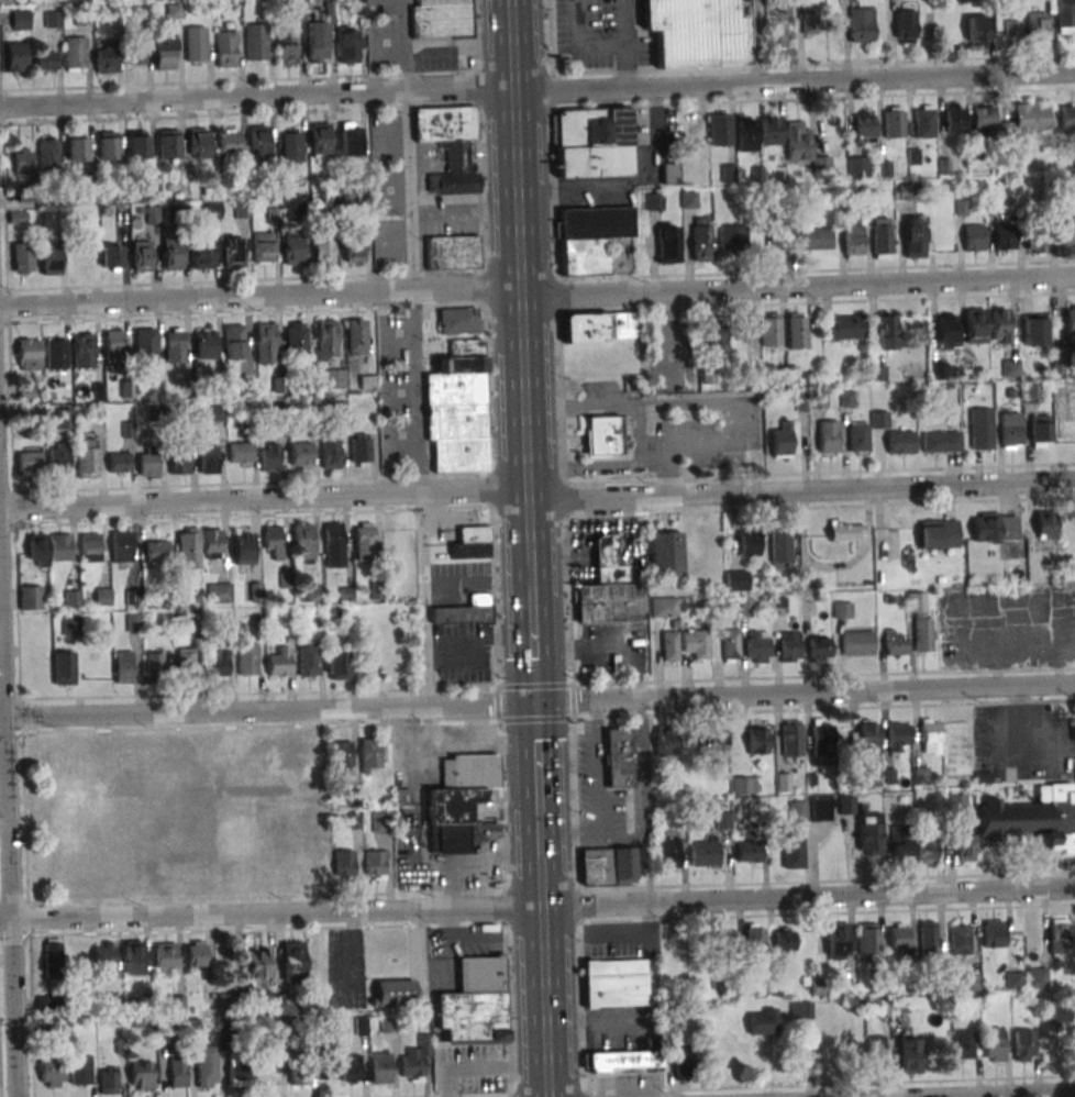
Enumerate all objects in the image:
building: (174, 11)
building: (809, 11)
building: (1065, 16)
building: (52, 19)
building: (441, 19)
building: (20, 20)
building: (861, 24)
building: (905, 26)
building: (1037, 29)
building: (977, 31)
building: (1013, 32)
building: (697, 33)
building: (777, 38)
road: (756, 41)
building: (256, 42)
building: (317, 42)
road: (624, 43)
building: (196, 44)
building: (286, 47)
building: (135, 48)
building: (226, 48)
building: (166, 51)
building: (347, 51)
building: (75, 53)
building: (15, 57)
building: (106, 58)
building: (45, 60)
road: (537, 89)
building: (1067, 117)
building: (984, 118)
building: (951, 119)
building: (1029, 120)
building: (923, 121)
building: (893, 122)
building: (863, 126)
building: (720, 129)
building: (769, 130)
building: (745, 134)
building: (320, 138)
building: (350, 138)
building: (258, 141)
building: (199, 143)
building: (230, 143)
building: (594, 143)
building: (137, 144)
building: (802, 144)
building: (108, 145)
building: (77, 146)
building: (168, 146)
building: (291, 146)
building: (450, 146)
building: (48, 154)
building: (23, 160)
building: (857, 166)
building: (669, 173)
building: (728, 173)
building: (905, 190)
building: (295, 207)
building: (242, 209)
building: (211, 210)
building: (151, 214)
building: (18, 217)
road: (465, 222)
building: (915, 236)
building: (1004, 236)
building: (1065, 236)
building: (591, 237)
building: (732, 237)
building: (880, 237)
building: (816, 239)
building: (973, 239)
building: (701, 240)
building: (852, 241)
building: (667, 243)
building: (1034, 243)
building: (323, 246)
building: (263, 247)
building: (292, 247)
building: (202, 252)
building: (232, 252)
building: (354, 252)
building: (452, 253)
building: (141, 255)
building: (173, 255)
building: (110, 256)
building: (22, 257)
building: (49, 259)
road: (537, 288)
road: (521, 292)
building: (1070, 320)
building: (458, 321)
building: (975, 325)
building: (999, 325)
building: (599, 328)
building: (843, 328)
building: (1033, 329)
building: (742, 330)
building: (769, 330)
building: (796, 330)
building: (945, 331)
building: (887, 332)
building: (296, 336)
building: (356, 336)
building: (716, 336)
building: (326, 341)
building: (234, 342)
building: (113, 343)
building: (144, 343)
building: (206, 343)
building: (266, 343)
building: (174, 345)
building: (82, 350)
road: (415, 352)
building: (29, 354)
building: (56, 354)
building: (1010, 368)
building: (709, 374)
building: (335, 378)
building: (1032, 394)
road: (716, 402)
road: (581, 406)
building: (457, 408)
building: (878, 419)
building: (63, 420)
building: (980, 429)
building: (1010, 430)
building: (1039, 431)
building: (603, 436)
building: (829, 436)
building: (858, 436)
building: (783, 440)
building: (899, 442)
building: (941, 442)
building: (361, 447)
building: (331, 452)
building: (241, 454)
building: (301, 455)
building: (87, 457)
building: (269, 457)
building: (209, 458)
building: (57, 459)
building: (29, 462)
building: (119, 462)
building: (179, 462)
building: (148, 463)
road: (613, 463)
road: (537, 489)
building: (1045, 524)
building: (994, 527)
building: (846, 530)
building: (938, 534)
building: (273, 540)
building: (303, 541)
building: (364, 541)
building: (749, 541)
building: (212, 543)
building: (470, 543)
building: (333, 545)
building: (121, 546)
building: (60, 547)
building: (90, 547)
building: (188, 547)
building: (243, 547)
building: (780, 548)
building: (37, 550)
building: (157, 551)
building: (666, 555)
building: (607, 559)
building: (736, 580)
building: (219, 592)
building: (311, 594)
building: (30, 597)
building: (71, 598)
building: (608, 603)
building: (664, 607)
building: (842, 610)
building: (465, 611)
building: (921, 621)
building: (70, 625)
building: (857, 642)
building: (895, 642)
road: (533, 643)
building: (696, 643)
building: (669, 645)
building: (730, 645)
building: (757, 646)
building: (789, 646)
building: (819, 646)
building: (247, 658)
building: (186, 661)
building: (279, 661)
building: (308, 661)
building: (341, 663)
building: (218, 664)
building: (64, 667)
building: (123, 667)
building: (154, 667)
road: (537, 701)
traffic signals: (535, 702)
building: (1074, 730)
building: (866, 734)
building: (898, 735)
building: (930, 735)
building: (793, 739)
building: (758, 740)
building: (664, 741)
building: (822, 742)
building: (720, 743)
building: (369, 754)
building: (342, 756)
road: (536, 756)
building: (619, 757)
building: (921, 775)
building: (783, 782)
building: (744, 785)
road: (597, 790)
building: (80, 804)
building: (461, 804)
building: (956, 804)
building: (820, 809)
building: (798, 810)
building: (1033, 818)
building: (380, 821)
building: (723, 821)
road: (540, 832)
building: (868, 834)
building: (900, 840)
road: (9, 841)
building: (964, 846)
building: (927, 849)
building: (793, 851)
building: (669, 852)
building: (749, 852)
building: (705, 853)
building: (343, 864)
building: (375, 865)
building: (608, 866)
road: (537, 905)
building: (994, 933)
building: (1059, 935)
building: (755, 937)
building: (898, 938)
building: (928, 938)
building: (784, 939)
building: (838, 940)
building: (960, 940)
building: (724, 942)
building: (868, 942)
building: (195, 953)
building: (165, 956)
building: (52, 957)
building: (104, 957)
building: (133, 957)
building: (292, 961)
building: (256, 962)
building: (480, 975)
road: (544, 975)
building: (1037, 977)
building: (1015, 979)
building: (614, 983)
building: (971, 983)
building: (394, 993)
building: (800, 1010)
building: (1056, 1015)
building: (470, 1019)
building: (763, 1021)
building: (963, 1044)
building: (1023, 1044)
building: (995, 1046)
building: (875, 1052)
building: (909, 1054)
building: (414, 1059)
building: (623, 1061)
building: (681, 1063)
building: (206, 1066)
building: (329, 1066)
building: (351, 1067)
building: (381, 1067)
building: (80, 1070)
building: (177, 1070)
building: (299, 1070)
building: (52, 1073)
building: (235, 1074)
building: (140, 1075)
building: (108, 1079)
road: (997, 1094)

